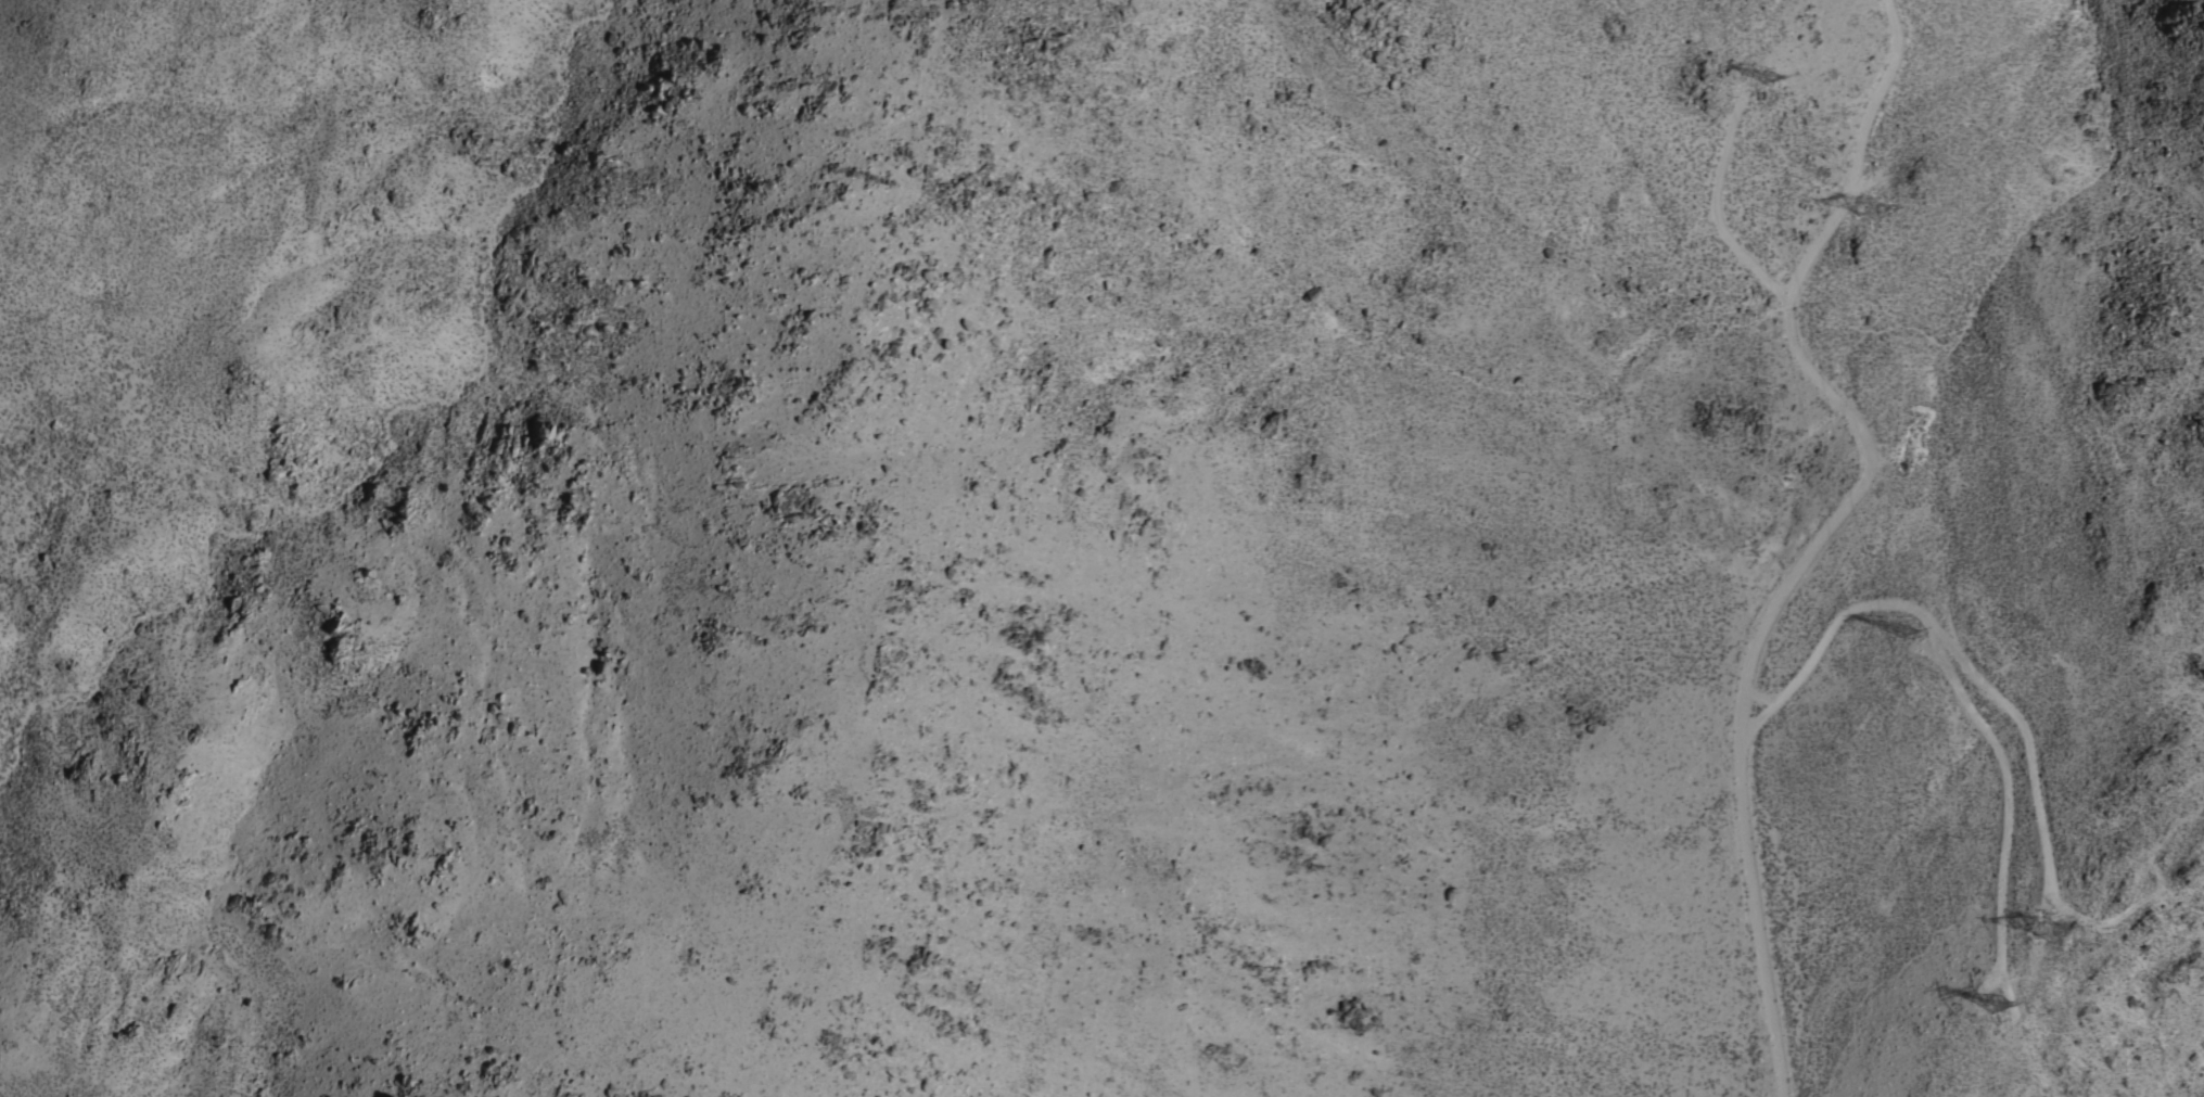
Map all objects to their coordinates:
power tower: (1763, 77)
road: (1710, 207)
power tower: (1872, 211)
road: (1856, 471)
power tower: (1904, 636)
road: (1958, 689)
road: (2024, 747)
power tower: (2054, 929)
power tower: (1993, 1006)
road: (1766, 1025)

